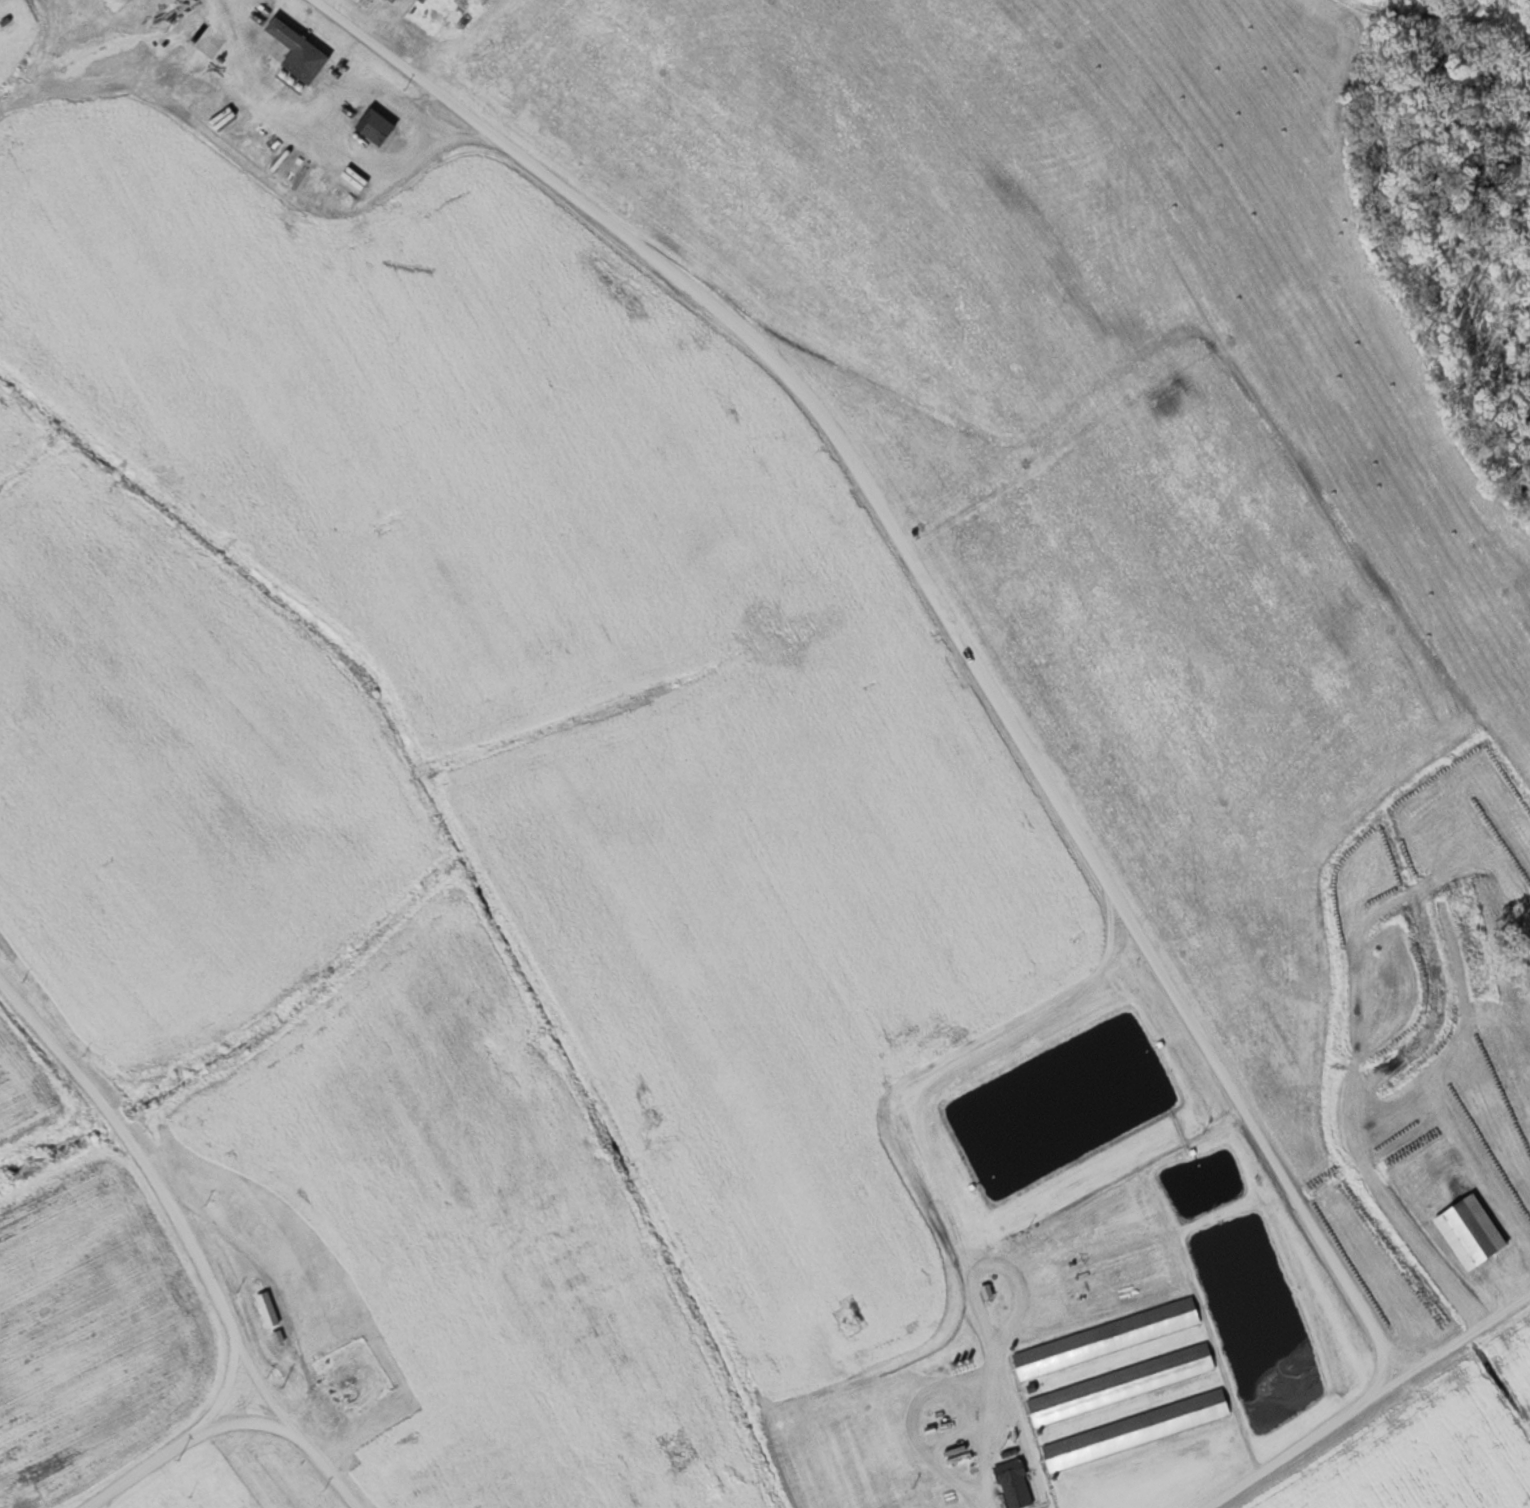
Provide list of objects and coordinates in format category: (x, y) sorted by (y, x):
building: (296, 52)
building: (373, 127)
road: (942, 607)
road: (145, 1183)
building: (1469, 1233)
building: (266, 1310)
building: (1105, 1339)
building: (1120, 1385)
road: (1359, 1395)
road: (230, 1399)
building: (1135, 1430)
building: (1014, 1484)

